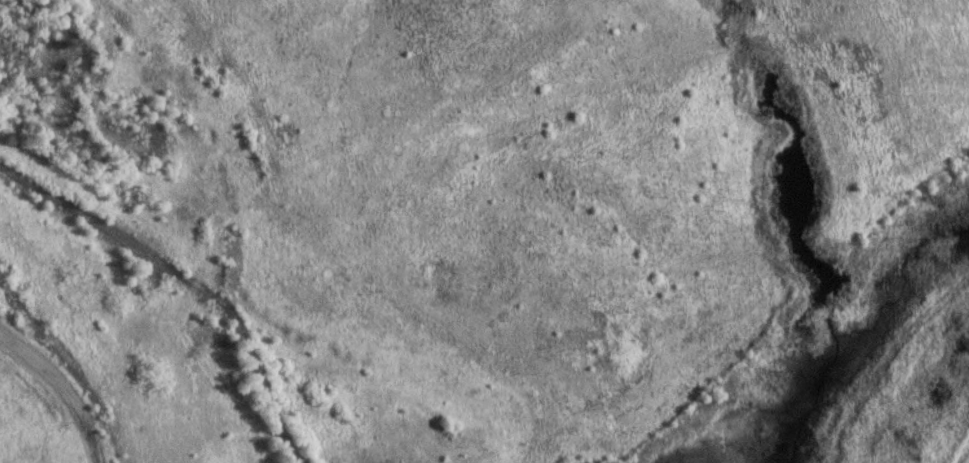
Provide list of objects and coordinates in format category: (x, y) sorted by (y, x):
road: (63, 386)

